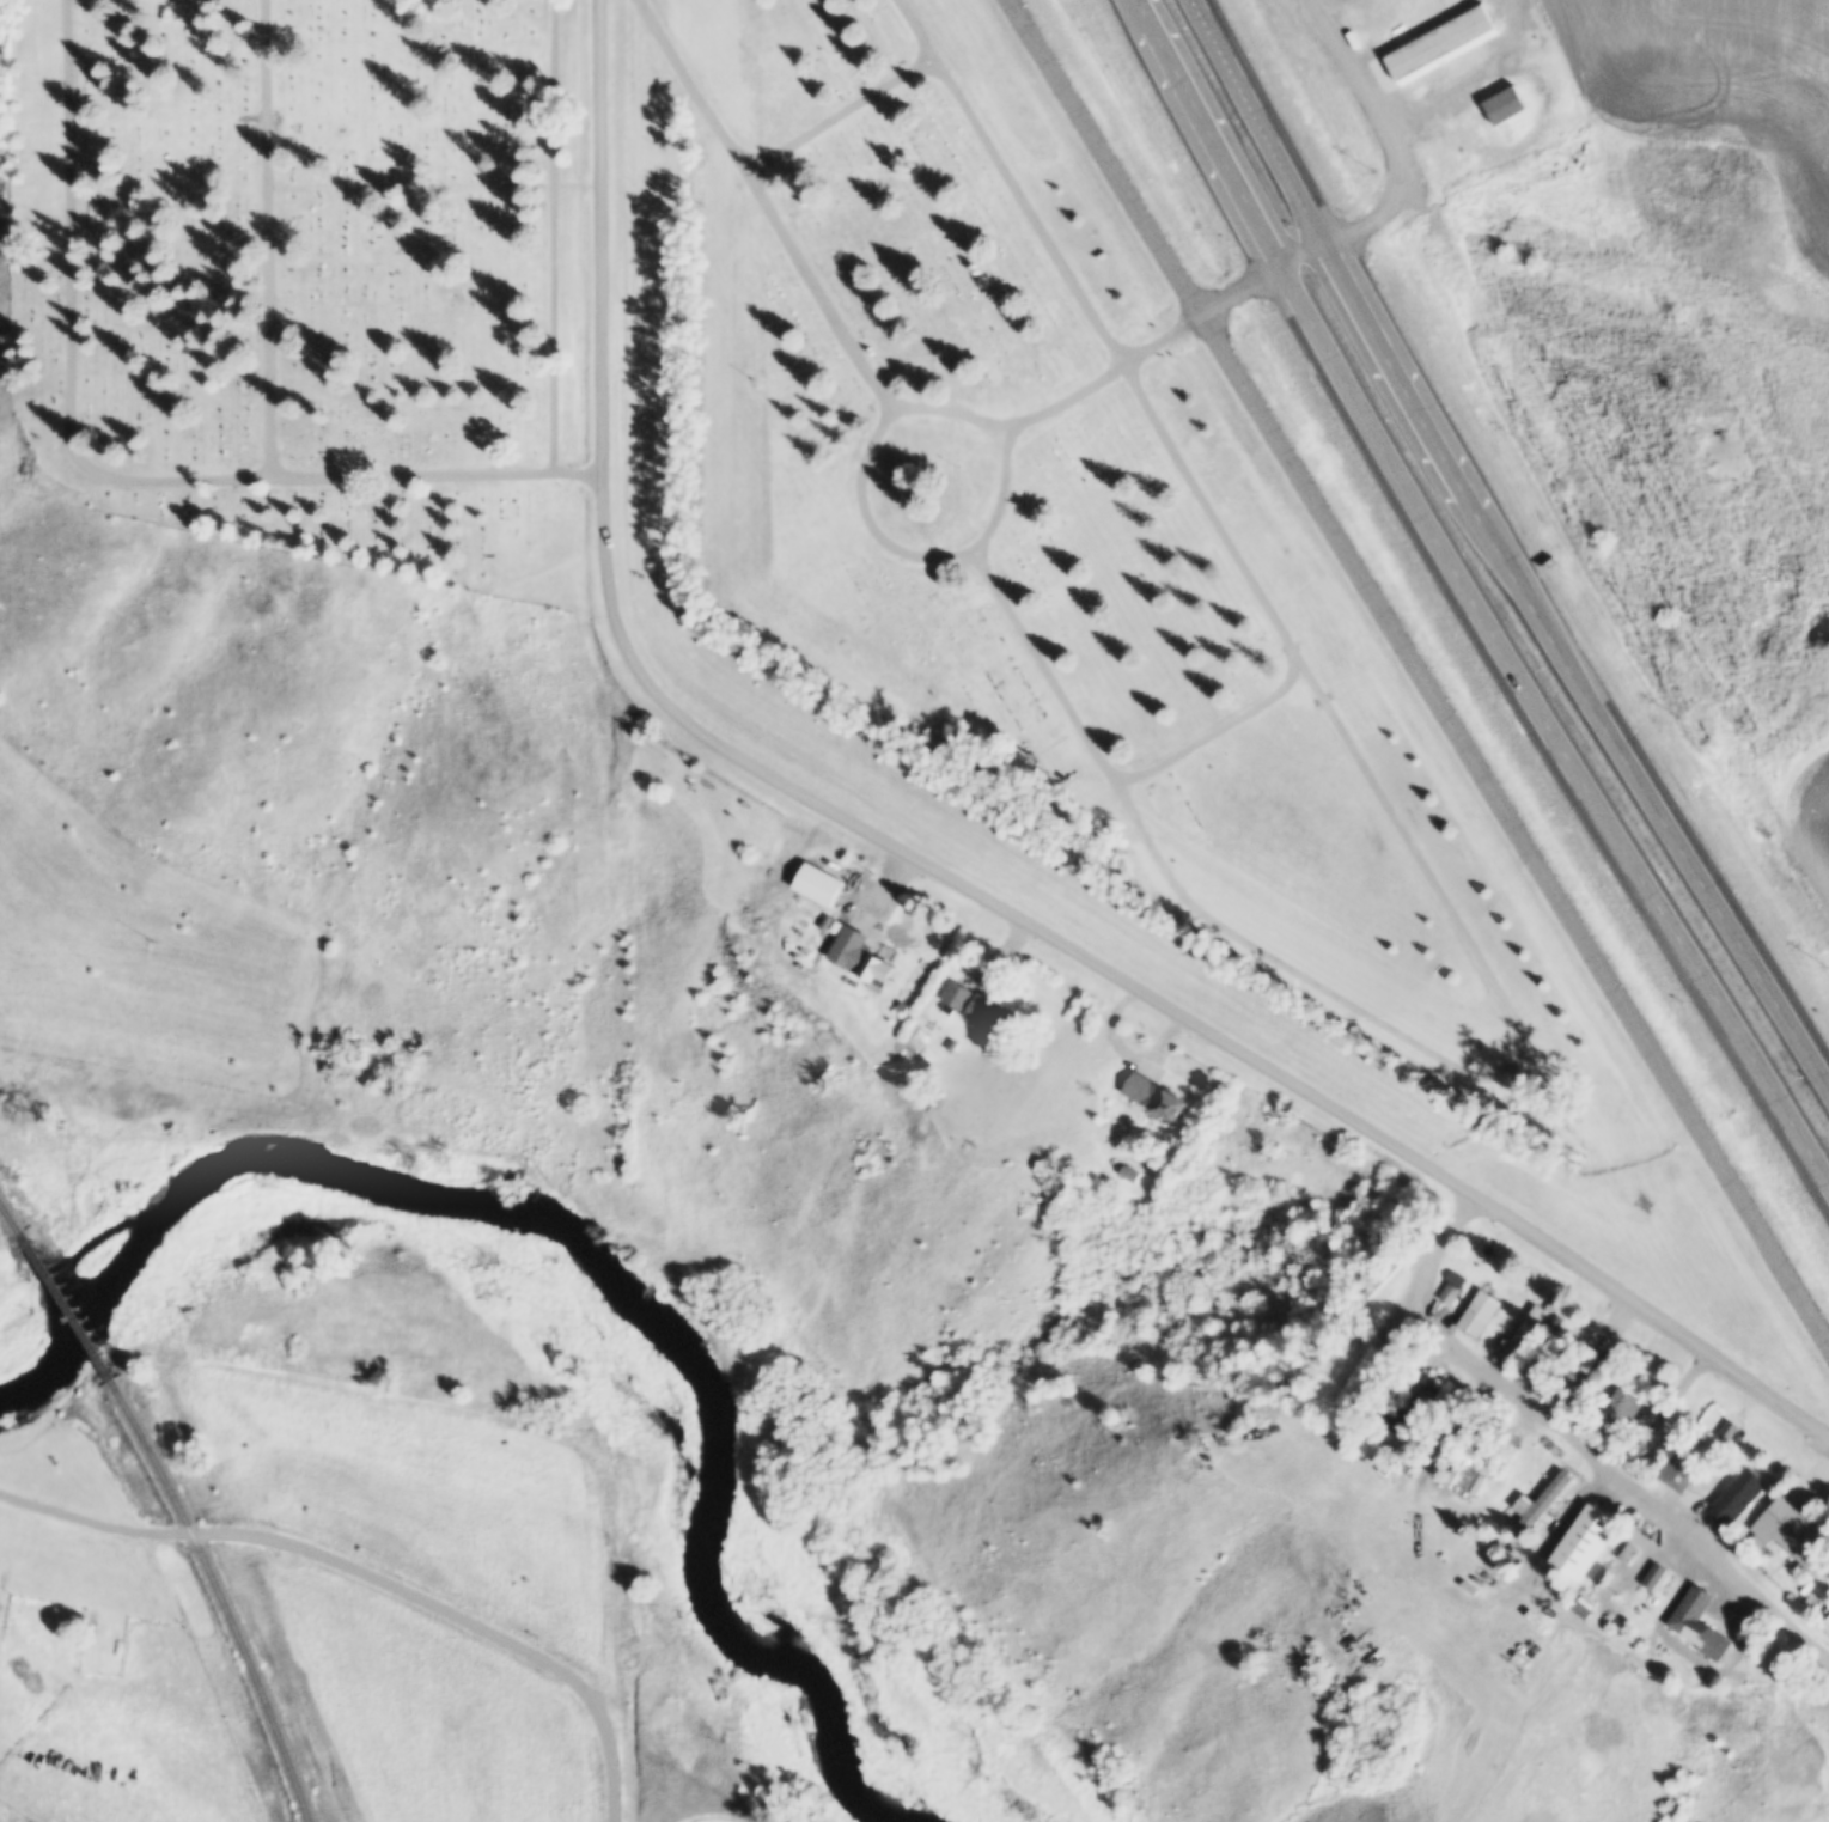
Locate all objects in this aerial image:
building: (1440, 41)
road: (1476, 77)
road: (755, 86)
building: (1506, 104)
road: (845, 114)
road: (1389, 134)
road: (414, 188)
road: (555, 236)
road: (270, 237)
road: (603, 237)
road: (1304, 255)
road: (880, 386)
park: (772, 443)
road: (110, 476)
road: (1501, 549)
road: (921, 554)
road: (1471, 592)
road: (1421, 668)
road: (1219, 730)
road: (1398, 818)
building: (818, 883)
road: (776, 903)
building: (787, 914)
building: (827, 921)
building: (801, 945)
building: (861, 956)
road: (1148, 993)
building: (956, 994)
building: (993, 1017)
building: (952, 1044)
building: (1156, 1096)
building: (1129, 1174)
railway: (11, 1217)
river: (581, 1259)
building: (1449, 1293)
railway: (67, 1305)
building: (1479, 1312)
building: (1550, 1327)
building: (1523, 1333)
building: (1526, 1365)
building: (1360, 1375)
building: (1409, 1376)
building: (1537, 1378)
building: (1592, 1381)
building: (1408, 1409)
building: (1618, 1409)
building: (1730, 1432)
road: (1575, 1438)
building: (1636, 1444)
building: (1287, 1456)
building: (1678, 1475)
building: (1468, 1481)
building: (1740, 1494)
building: (1538, 1503)
road: (53, 1507)
building: (1605, 1525)
building: (1792, 1534)
building: (1551, 1559)
road: (370, 1570)
building: (1614, 1571)
building: (1654, 1574)
railway: (224, 1594)
building: (1581, 1609)
building: (1699, 1623)
building: (1825, 1625)
road: (612, 1763)

